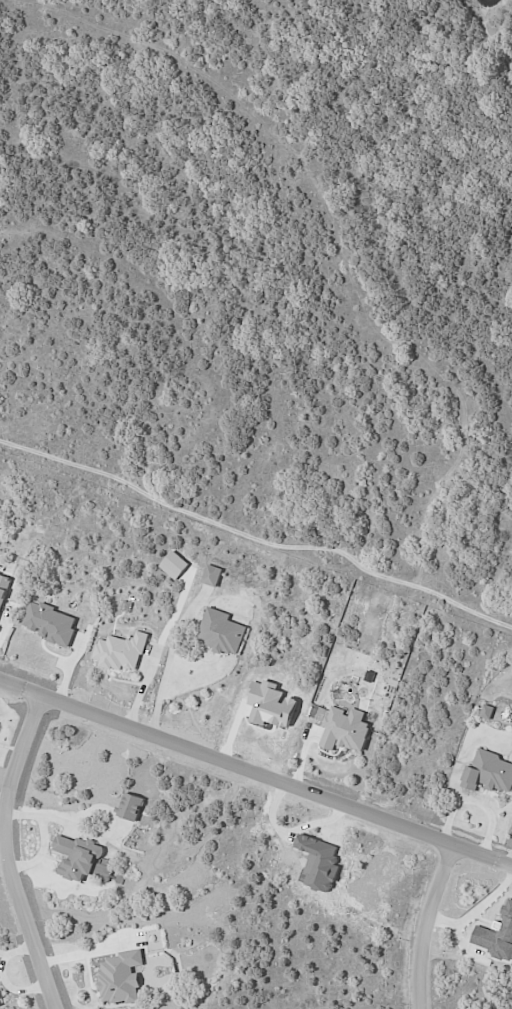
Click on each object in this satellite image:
building: (212, 575)
building: (3, 589)
building: (51, 623)
building: (221, 632)
building: (121, 651)
road: (168, 661)
building: (487, 712)
building: (344, 731)
building: (489, 772)
road: (255, 773)
road: (475, 802)
building: (131, 807)
road: (5, 852)
building: (77, 856)
road: (511, 862)
building: (102, 869)
road: (475, 910)
road: (428, 925)
building: (496, 935)
building: (120, 977)

